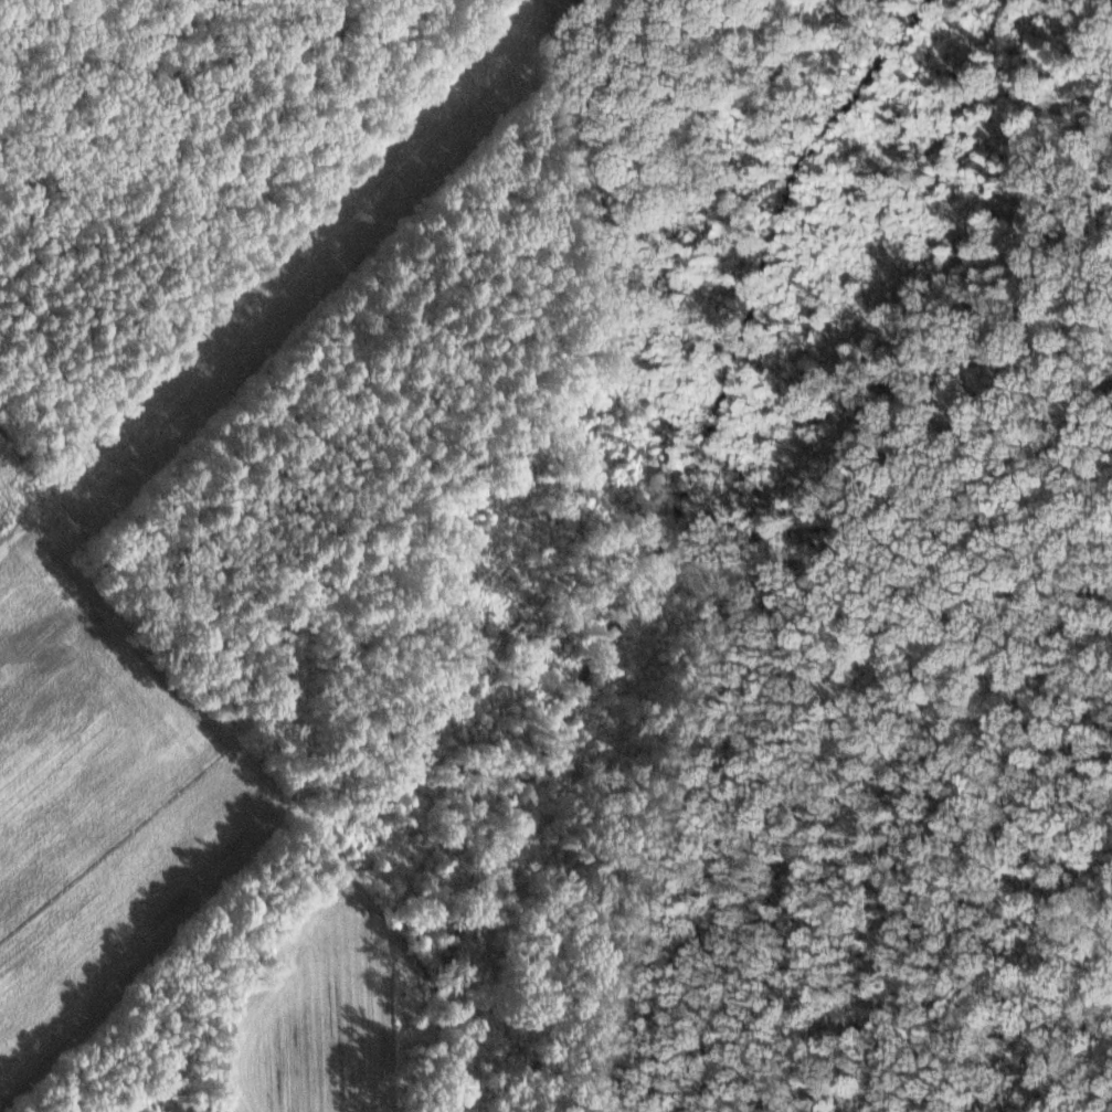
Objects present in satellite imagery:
power tower: (345, 219)
power tower: (55, 521)

